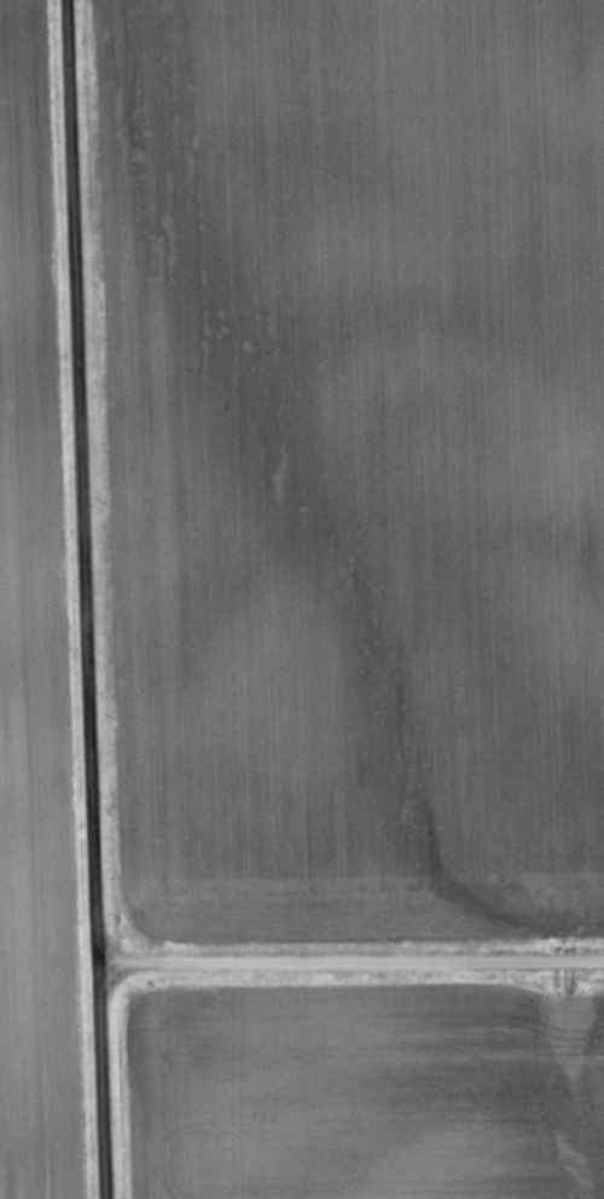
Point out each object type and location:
crop: (354, 463)
road: (85, 599)
crop: (33, 659)
road: (352, 960)
crop: (364, 1090)

